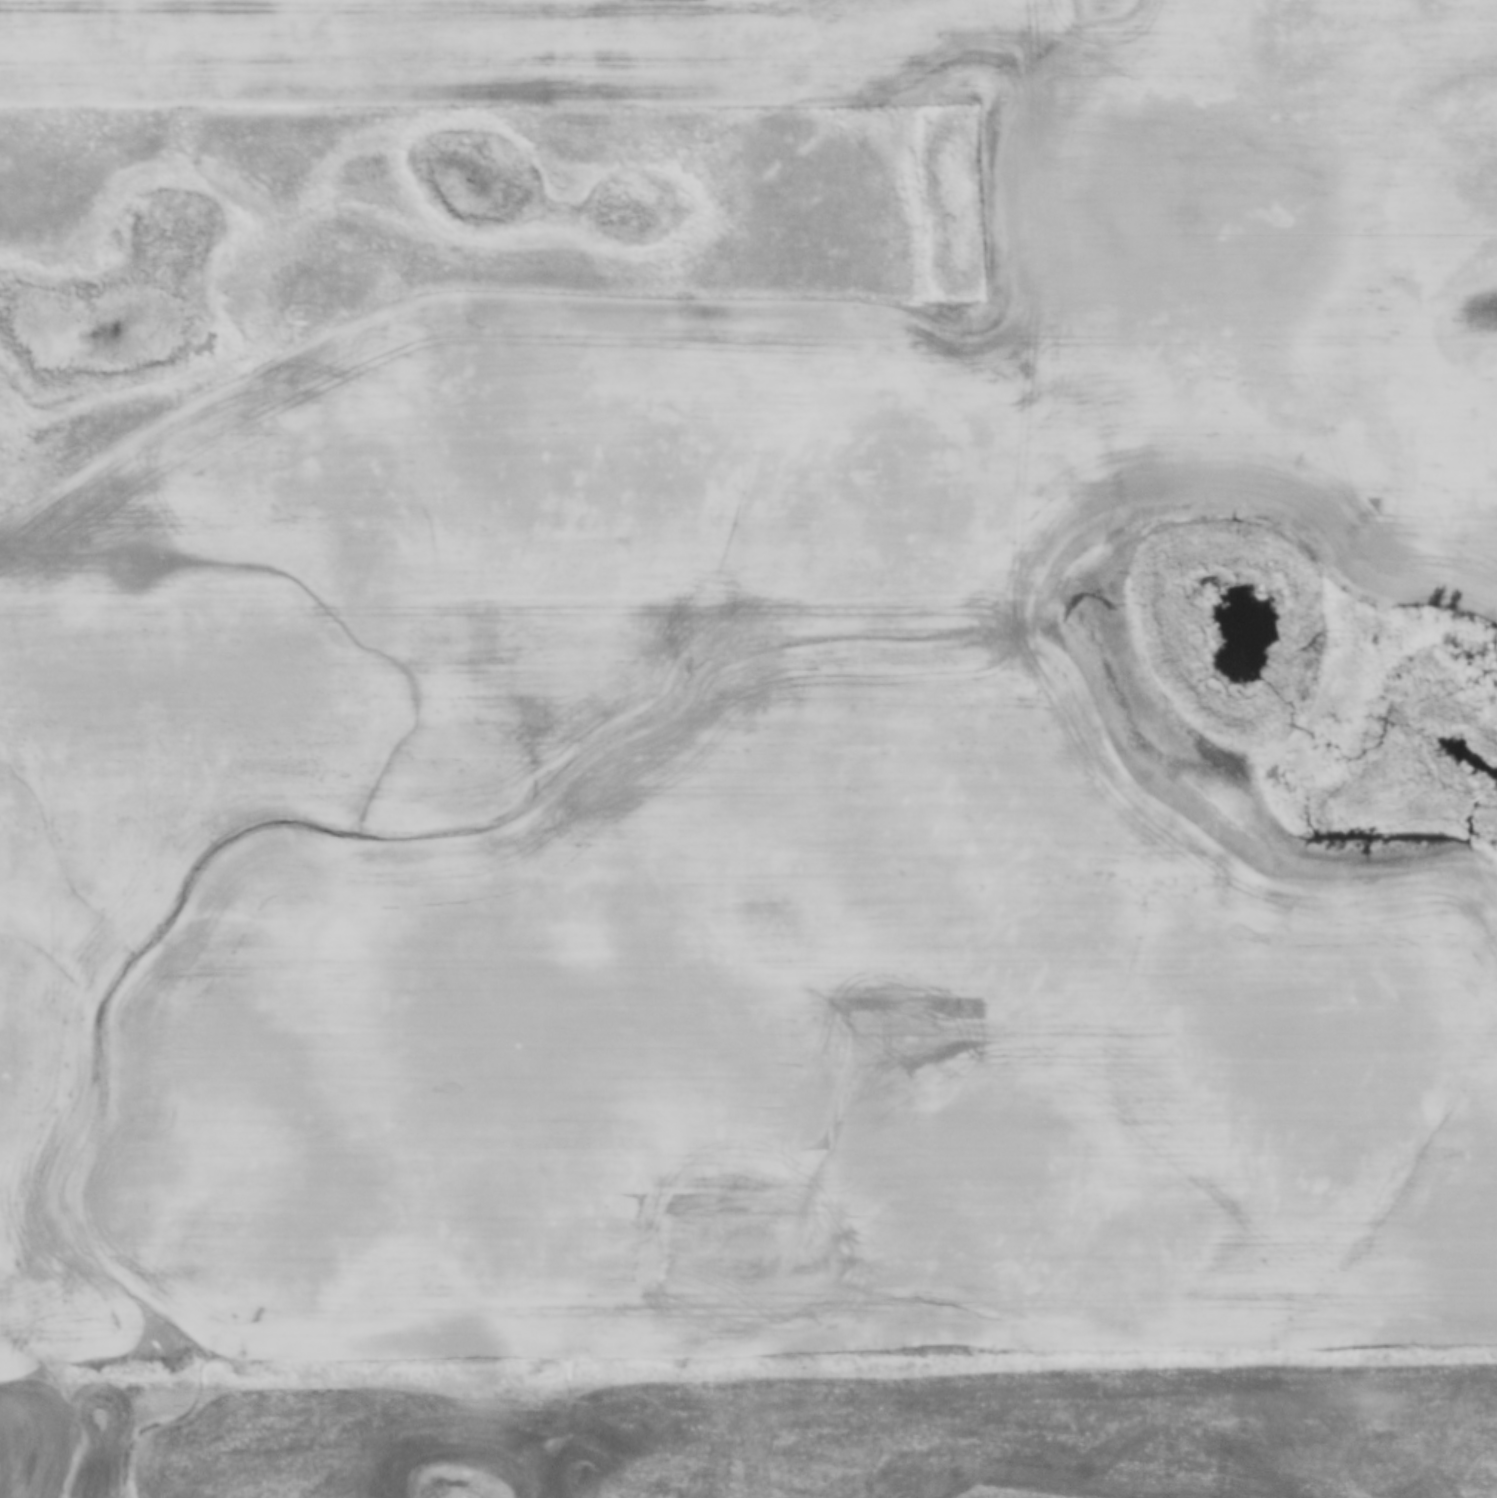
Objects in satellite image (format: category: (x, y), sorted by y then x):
road: (1122, 616)
road: (748, 1360)

